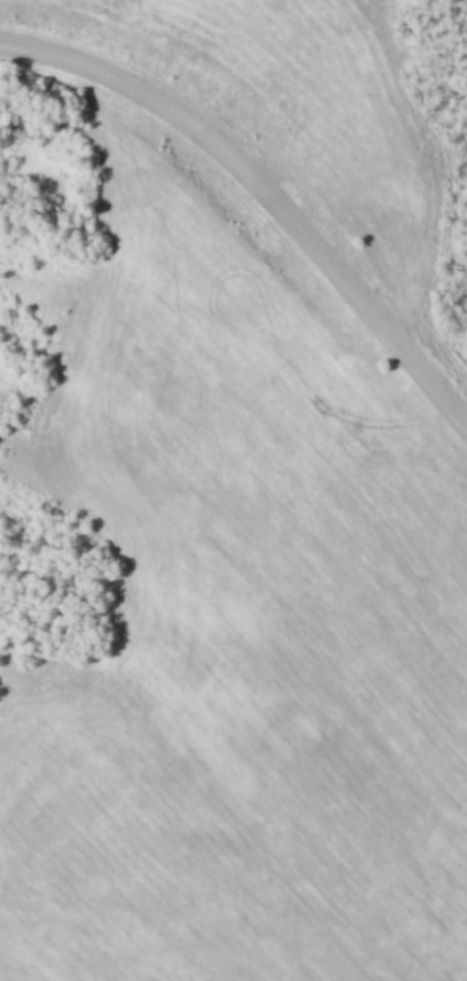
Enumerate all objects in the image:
road: (263, 185)

